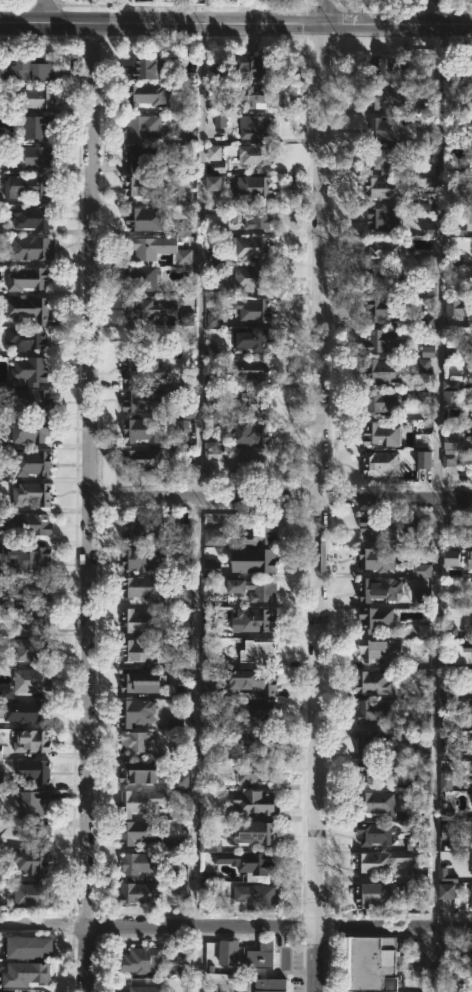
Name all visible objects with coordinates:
road: (322, 10)
road: (46, 11)
road: (160, 18)
road: (396, 22)
building: (152, 66)
building: (469, 66)
building: (33, 67)
building: (253, 67)
building: (389, 67)
building: (145, 93)
building: (254, 95)
building: (35, 96)
building: (384, 97)
building: (36, 126)
building: (143, 126)
building: (254, 126)
building: (383, 128)
building: (1, 135)
building: (188, 136)
building: (213, 153)
building: (253, 154)
building: (38, 156)
building: (144, 156)
building: (387, 160)
building: (180, 166)
building: (0, 169)
building: (213, 183)
building: (27, 186)
building: (144, 186)
building: (251, 187)
building: (384, 187)
building: (33, 217)
building: (261, 218)
building: (383, 218)
building: (146, 219)
building: (428, 229)
building: (459, 229)
building: (29, 247)
building: (253, 248)
building: (388, 248)
building: (157, 249)
road: (198, 258)
building: (217, 258)
building: (424, 258)
building: (452, 259)
road: (438, 261)
building: (140, 276)
building: (27, 278)
building: (253, 278)
building: (384, 279)
building: (216, 288)
building: (429, 290)
building: (188, 292)
building: (454, 300)
building: (28, 308)
building: (147, 308)
building: (252, 309)
building: (385, 309)
building: (187, 319)
building: (213, 319)
building: (428, 320)
building: (26, 338)
building: (248, 339)
building: (383, 339)
building: (209, 348)
building: (427, 351)
building: (423, 365)
building: (32, 369)
building: (246, 369)
building: (144, 370)
building: (380, 371)
building: (470, 378)
building: (449, 392)
building: (423, 397)
building: (31, 400)
building: (144, 400)
building: (256, 402)
building: (385, 402)
building: (187, 411)
building: (182, 426)
building: (143, 429)
building: (30, 430)
building: (252, 432)
building: (471, 432)
building: (381, 434)
building: (421, 441)
building: (450, 441)
building: (210, 447)
building: (449, 458)
building: (142, 459)
building: (424, 459)
building: (236, 460)
building: (29, 462)
building: (382, 462)
building: (32, 495)
road: (281, 498)
road: (91, 505)
road: (316, 506)
building: (27, 524)
building: (410, 526)
building: (378, 527)
building: (261, 531)
building: (140, 533)
building: (183, 533)
building: (214, 537)
building: (31, 558)
building: (451, 558)
building: (377, 559)
building: (140, 560)
building: (264, 560)
building: (471, 565)
building: (212, 568)
building: (421, 570)
building: (471, 585)
building: (142, 588)
building: (379, 588)
building: (31, 590)
building: (262, 591)
building: (182, 596)
building: (420, 598)
building: (28, 618)
building: (375, 619)
building: (255, 620)
building: (140, 621)
building: (424, 631)
building: (450, 632)
building: (467, 647)
building: (30, 649)
building: (377, 650)
building: (139, 651)
building: (257, 651)
building: (31, 680)
building: (254, 682)
building: (372, 682)
building: (140, 683)
building: (183, 691)
building: (211, 692)
building: (6, 693)
building: (25, 711)
road: (195, 711)
building: (256, 711)
building: (375, 711)
building: (136, 712)
road: (434, 712)
building: (471, 712)
building: (174, 722)
building: (135, 741)
building: (254, 741)
building: (32, 742)
building: (377, 743)
building: (1, 751)
building: (448, 752)
building: (34, 770)
building: (136, 772)
building: (255, 772)
building: (373, 772)
building: (445, 779)
building: (29, 801)
building: (139, 802)
building: (377, 802)
building: (253, 804)
building: (38, 832)
building: (135, 832)
building: (253, 833)
building: (374, 834)
building: (449, 836)
building: (415, 844)
building: (209, 845)
building: (30, 860)
building: (470, 860)
building: (247, 861)
building: (380, 861)
building: (137, 862)
building: (180, 873)
building: (418, 873)
building: (446, 884)
building: (181, 890)
building: (402, 892)
building: (140, 893)
building: (373, 893)
building: (471, 895)
building: (30, 896)
building: (253, 898)
road: (236, 924)
building: (29, 947)
building: (442, 949)
building: (228, 953)
building: (180, 955)
road: (198, 958)
road: (425, 958)
building: (141, 959)
building: (372, 963)
building: (264, 968)
building: (37, 971)
building: (465, 978)
building: (145, 988)
building: (14, 990)

